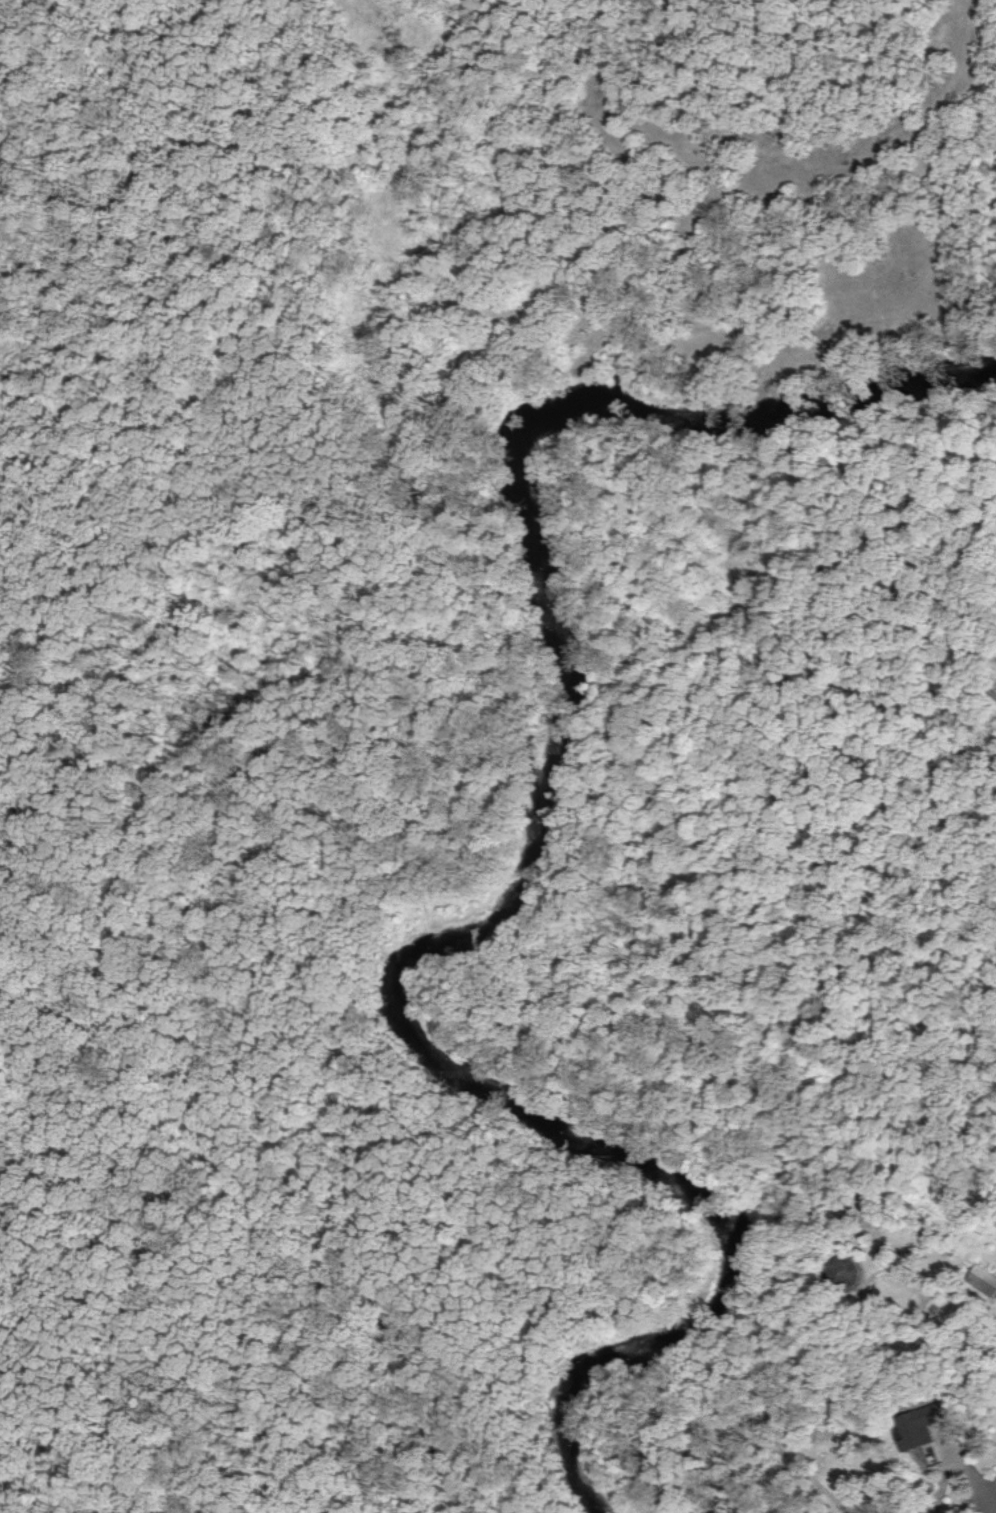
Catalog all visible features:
building: (916, 1435)

